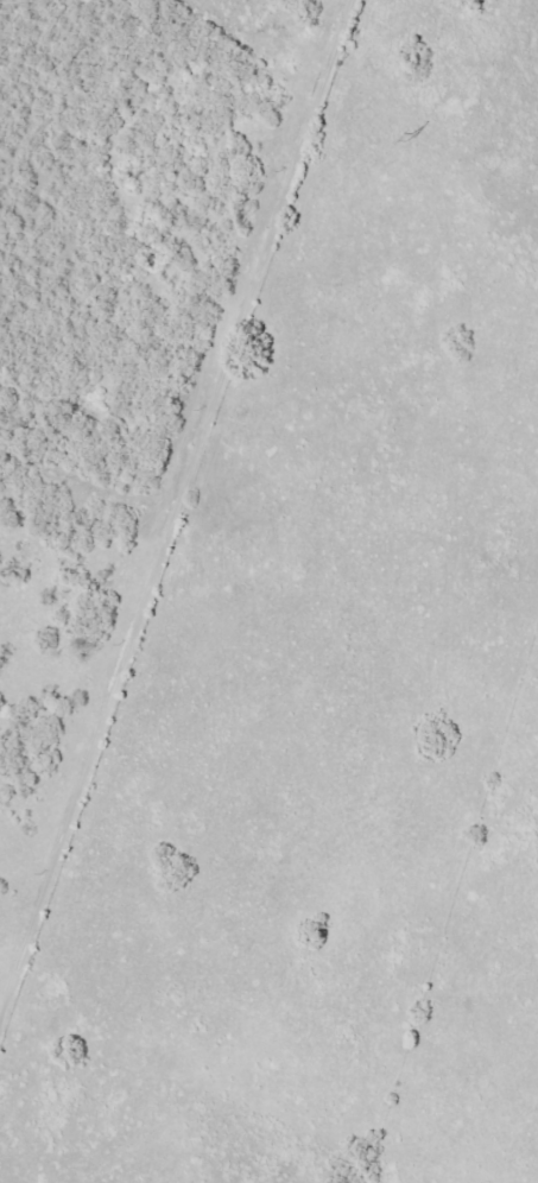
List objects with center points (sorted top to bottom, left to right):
power tower: (403, 139)
road: (181, 504)

